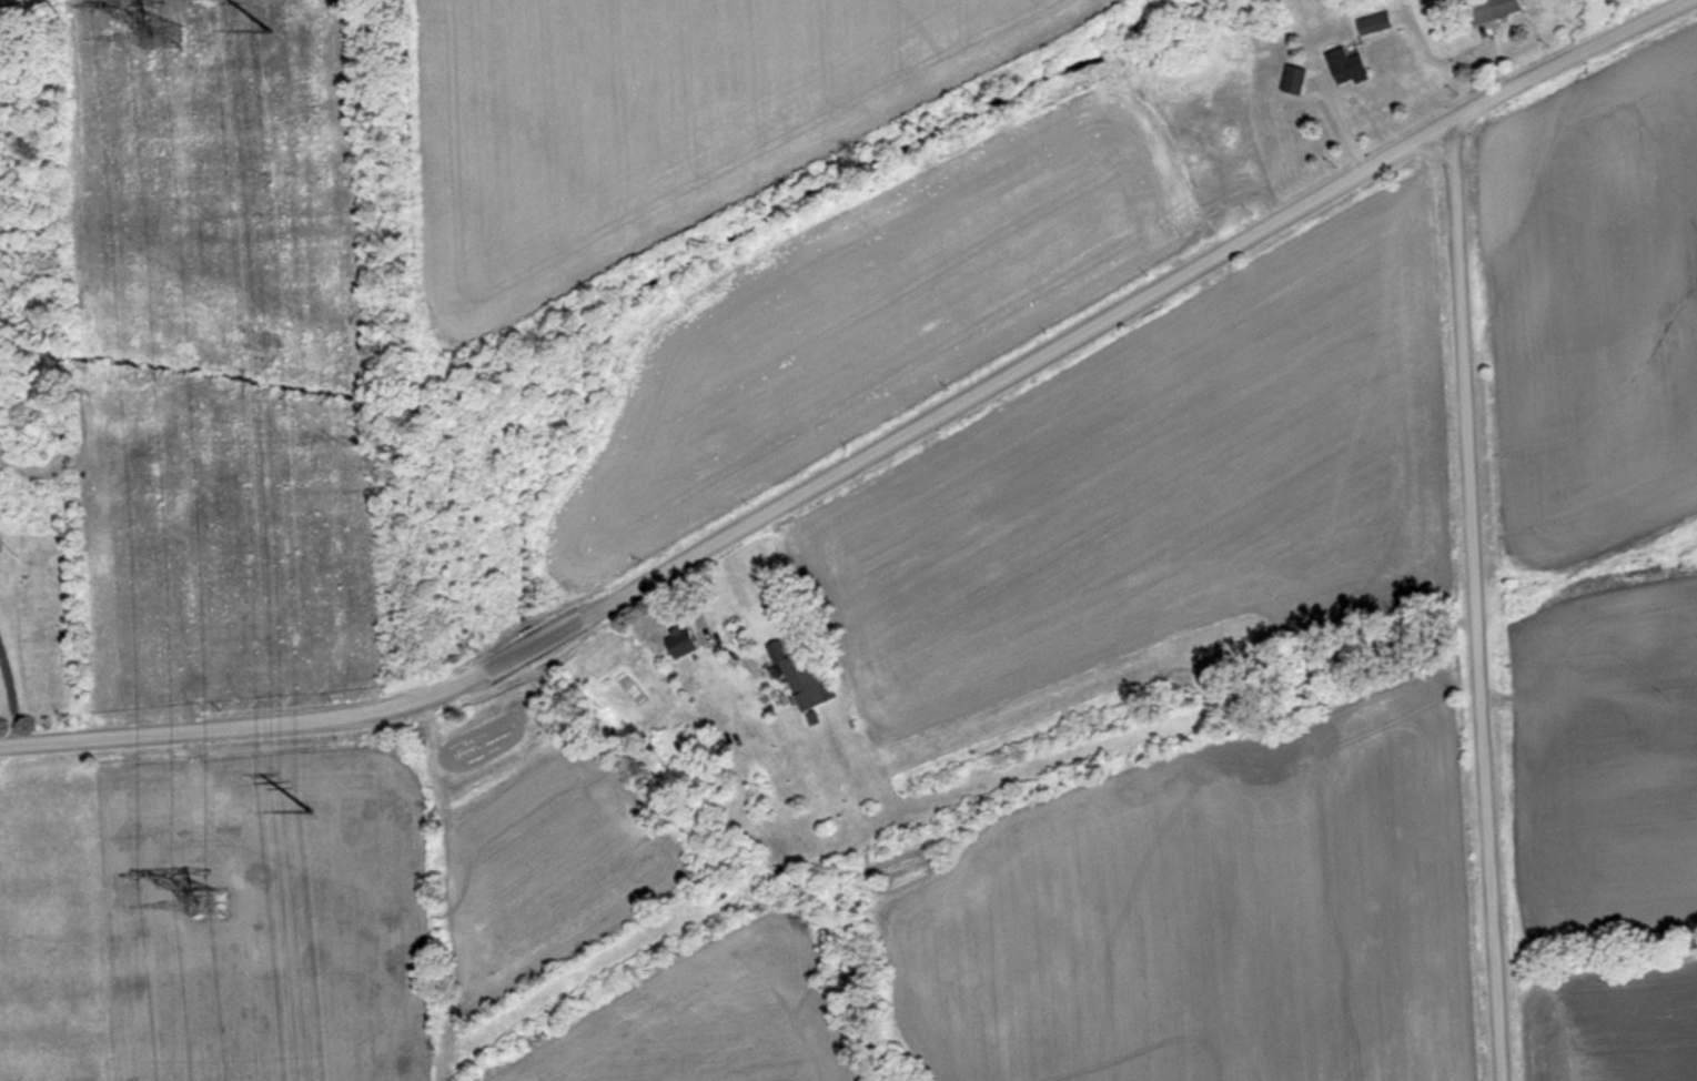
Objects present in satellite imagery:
building: (1491, 9)
building: (1374, 22)
power tower: (159, 28)
power tower: (286, 38)
building: (1345, 63)
road: (871, 452)
road: (1469, 605)
building: (679, 640)
building: (804, 675)
road: (12, 693)
power tower: (327, 814)
power tower: (204, 900)

